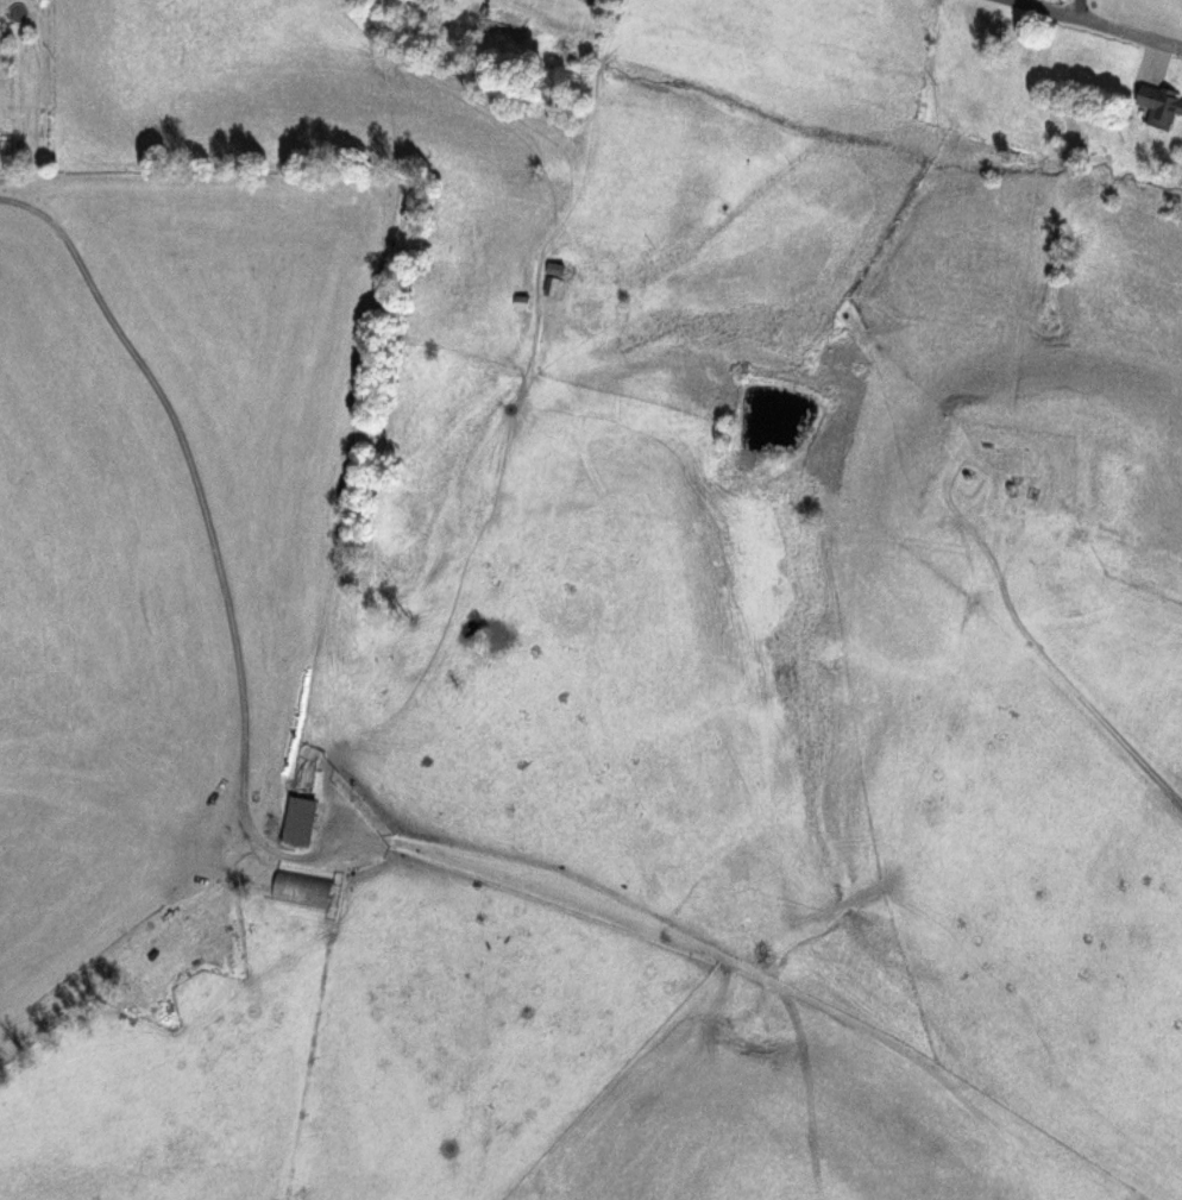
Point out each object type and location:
road: (1074, 8)
road: (1096, 23)
road: (592, 65)
building: (1161, 107)
road: (1018, 746)
building: (300, 823)
building: (300, 890)
building: (73, 999)

